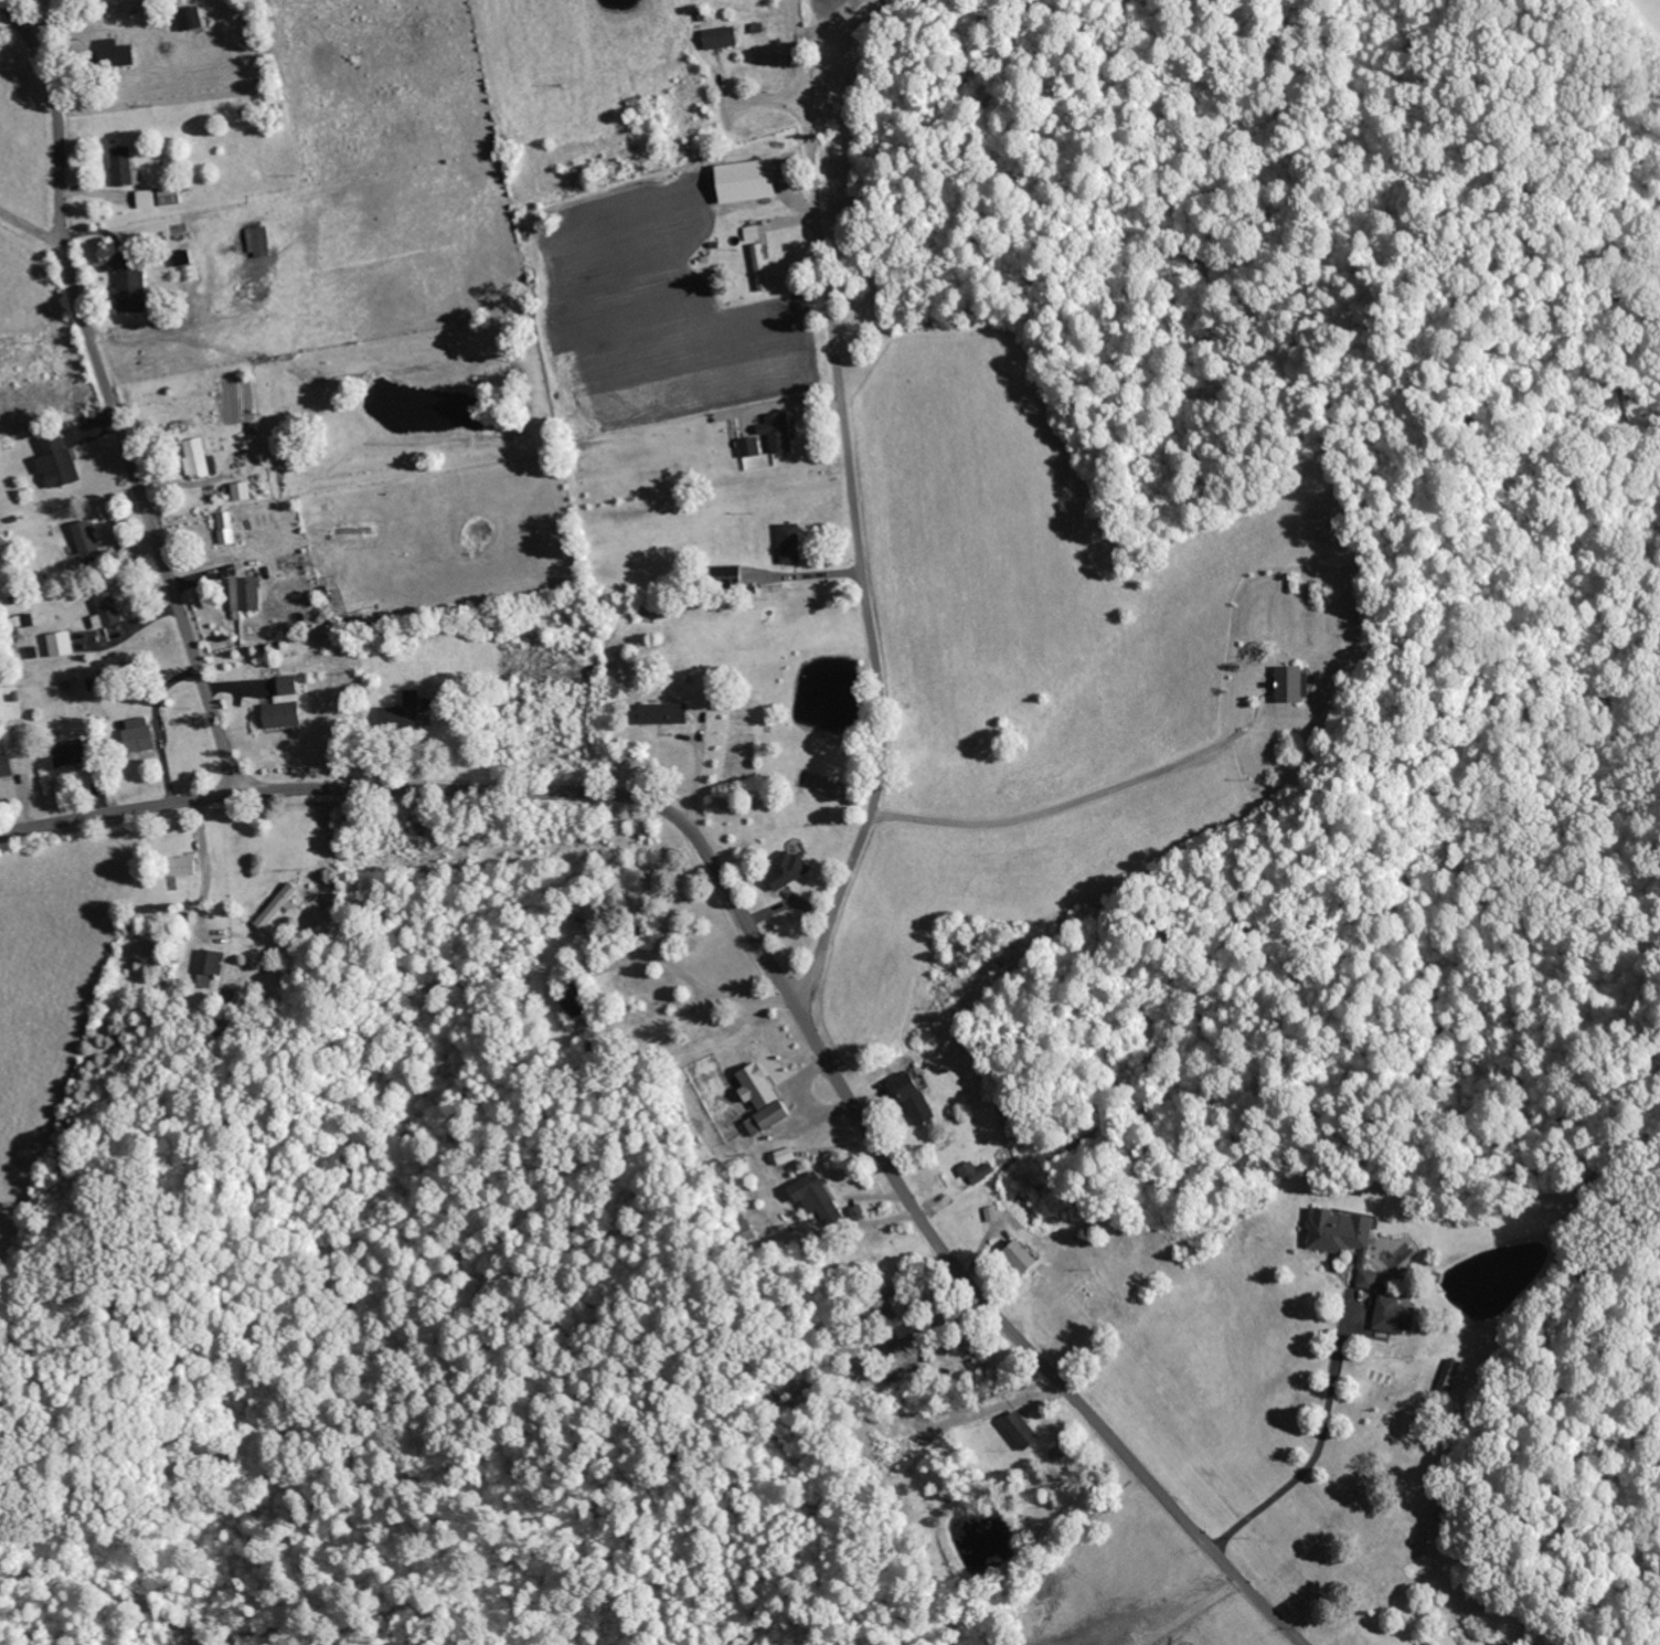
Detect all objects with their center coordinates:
building: (191, 17)
building: (723, 36)
building: (117, 51)
road: (800, 66)
building: (752, 179)
building: (171, 194)
building: (148, 197)
road: (32, 226)
building: (754, 231)
building: (259, 241)
building: (185, 261)
building: (131, 289)
road: (108, 395)
building: (779, 431)
building: (752, 446)
building: (201, 458)
building: (58, 459)
building: (244, 489)
building: (227, 527)
building: (87, 535)
building: (792, 542)
building: (732, 573)
road: (863, 577)
building: (247, 591)
building: (108, 607)
building: (29, 617)
building: (62, 640)
building: (1297, 681)
building: (286, 702)
building: (667, 710)
building: (403, 711)
building: (141, 732)
building: (72, 751)
building: (8, 762)
road: (1073, 803)
road: (120, 810)
building: (185, 863)
road: (206, 864)
building: (790, 868)
building: (279, 903)
building: (211, 964)
road: (693, 975)
building: (576, 996)
road: (837, 1073)
building: (918, 1096)
building: (764, 1097)
building: (788, 1153)
building: (981, 1169)
building: (820, 1197)
building: (996, 1211)
building: (860, 1212)
building: (1025, 1254)
building: (1364, 1261)
building: (903, 1315)
building: (1451, 1373)
building: (1023, 1429)
road: (1320, 1447)
road: (1189, 1611)

